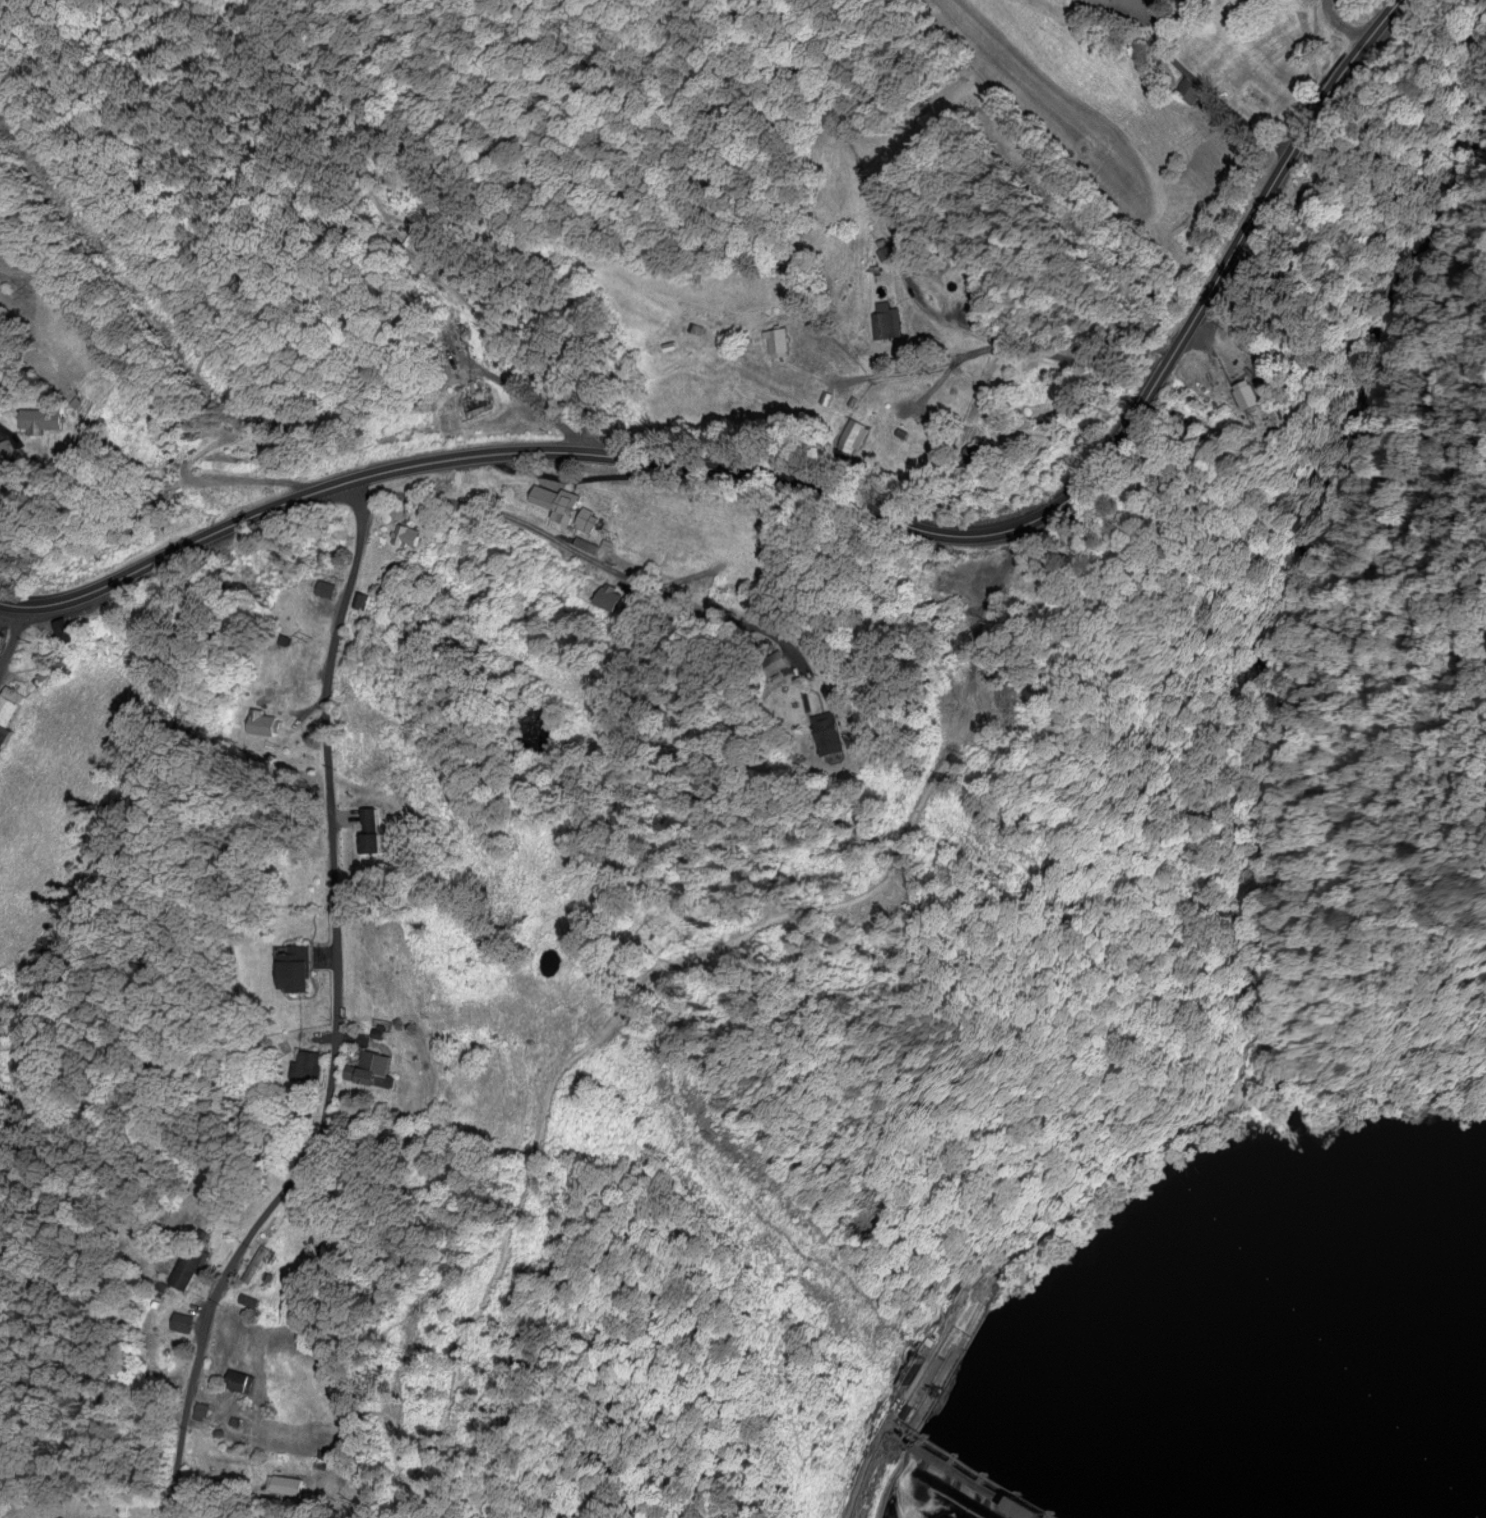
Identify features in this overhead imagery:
building: (1242, 2)
road: (1340, 23)
building: (1186, 88)
building: (888, 320)
building: (778, 340)
road: (1051, 354)
road: (888, 370)
building: (476, 402)
building: (43, 417)
building: (7, 451)
road: (1482, 471)
building: (559, 501)
road: (820, 504)
building: (589, 519)
building: (409, 535)
building: (337, 537)
building: (326, 589)
building: (614, 596)
road: (1305, 614)
road: (10, 631)
building: (71, 632)
building: (2, 641)
building: (51, 668)
building: (280, 668)
building: (10, 706)
building: (268, 723)
building: (851, 729)
building: (7, 734)
building: (375, 830)
building: (296, 968)
road: (334, 1019)
park: (1317, 1042)
building: (308, 1066)
building: (376, 1069)
road: (1395, 1091)
building: (258, 1264)
building: (190, 1268)
building: (185, 1322)
building: (244, 1381)
river: (1317, 1385)
road: (852, 1431)
dam: (986, 1474)
dam: (975, 1481)

